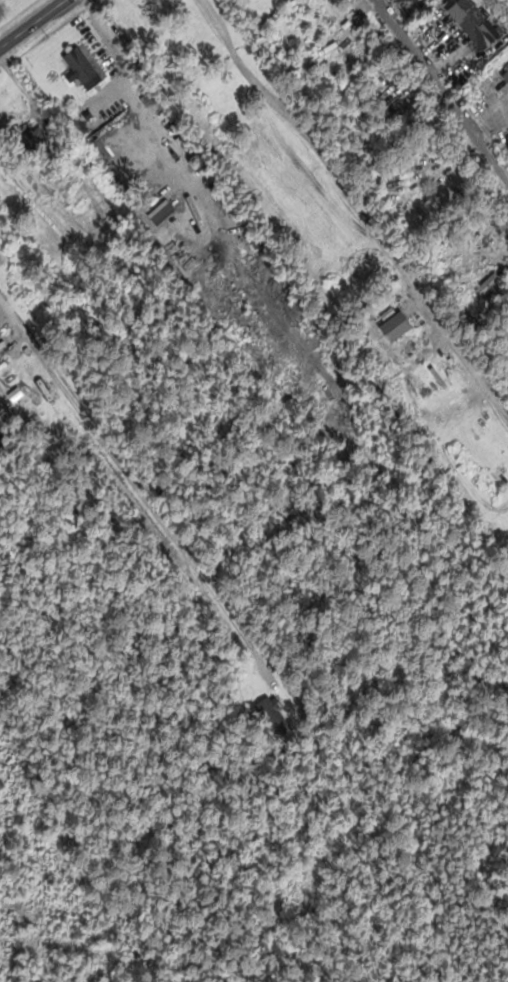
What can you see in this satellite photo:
road: (31, 23)
building: (475, 24)
road: (110, 30)
building: (83, 65)
building: (506, 75)
road: (440, 90)
road: (355, 205)
building: (28, 285)
building: (396, 327)
road: (135, 493)

